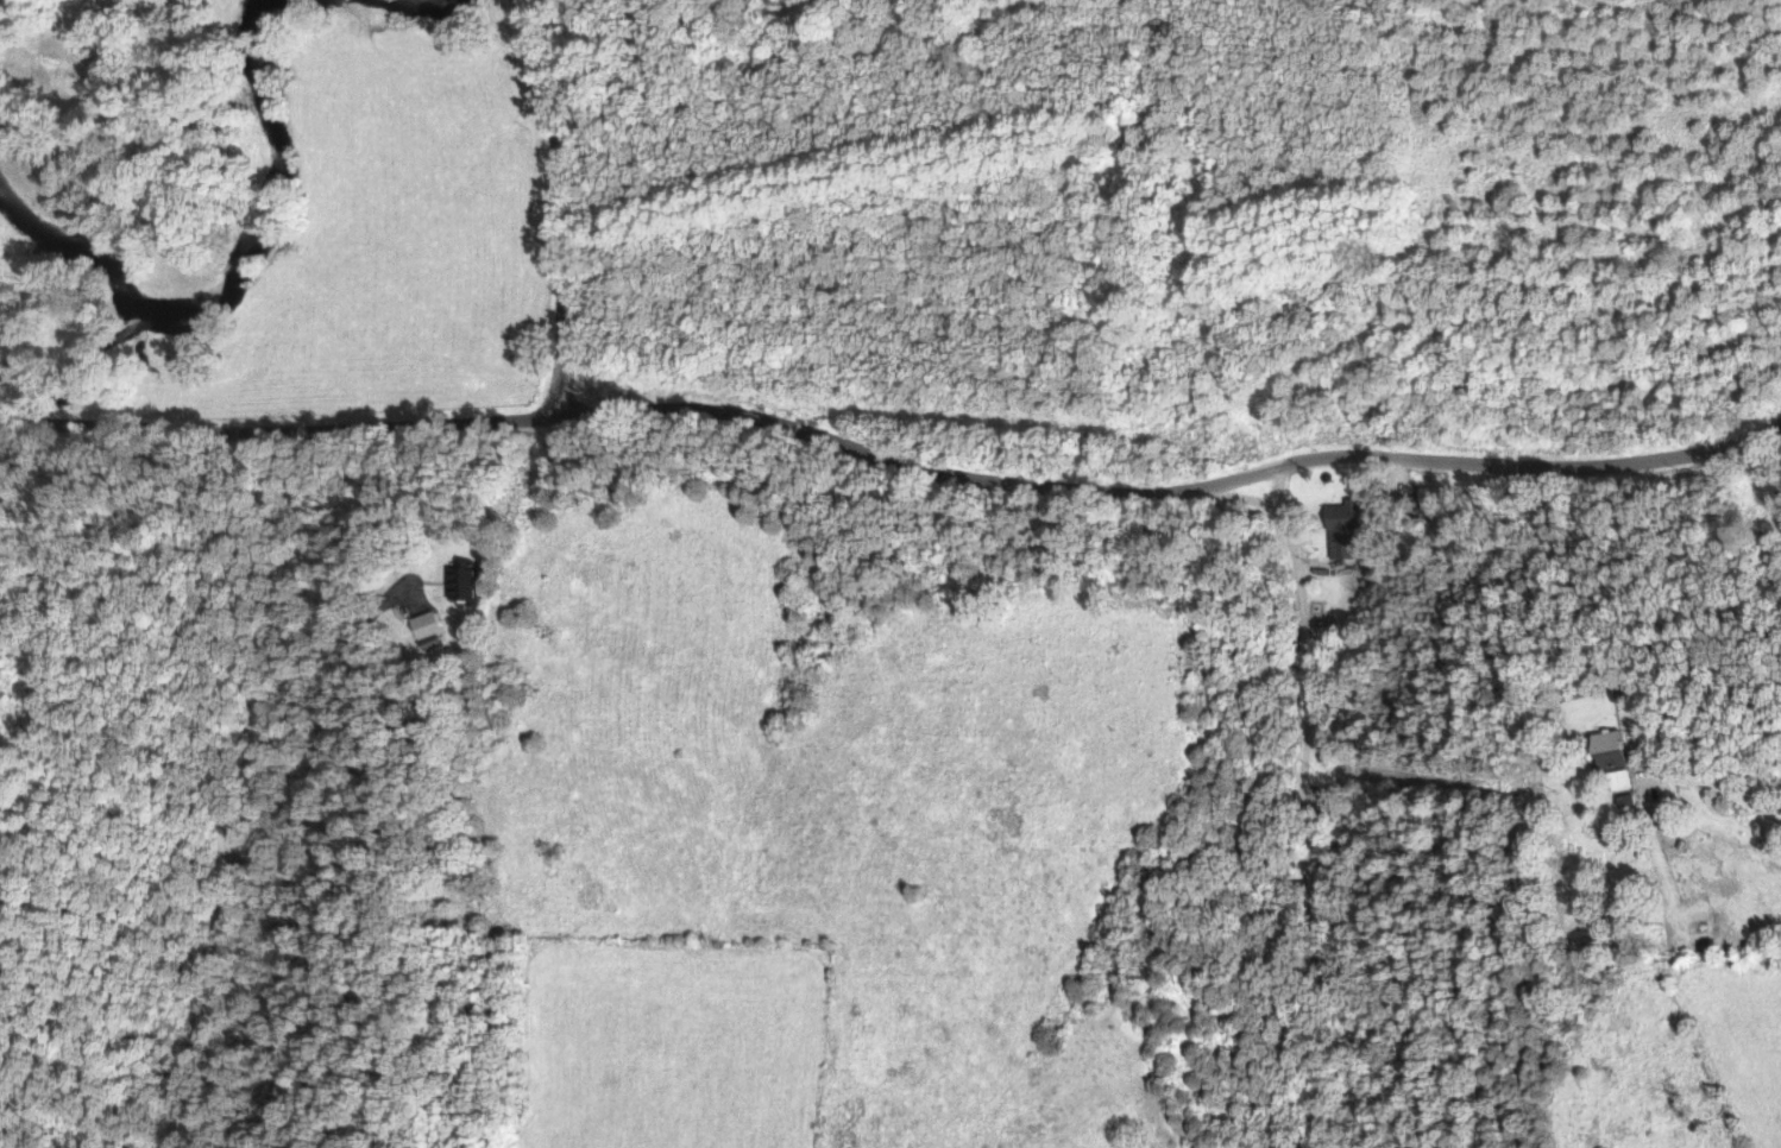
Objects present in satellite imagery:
road: (558, 198)
road: (894, 454)
road: (1397, 465)
road: (1758, 467)
building: (1347, 531)
building: (466, 582)
building: (427, 625)
road: (1664, 727)
building: (1616, 749)
road: (232, 752)
road: (1309, 782)
road: (1736, 795)

